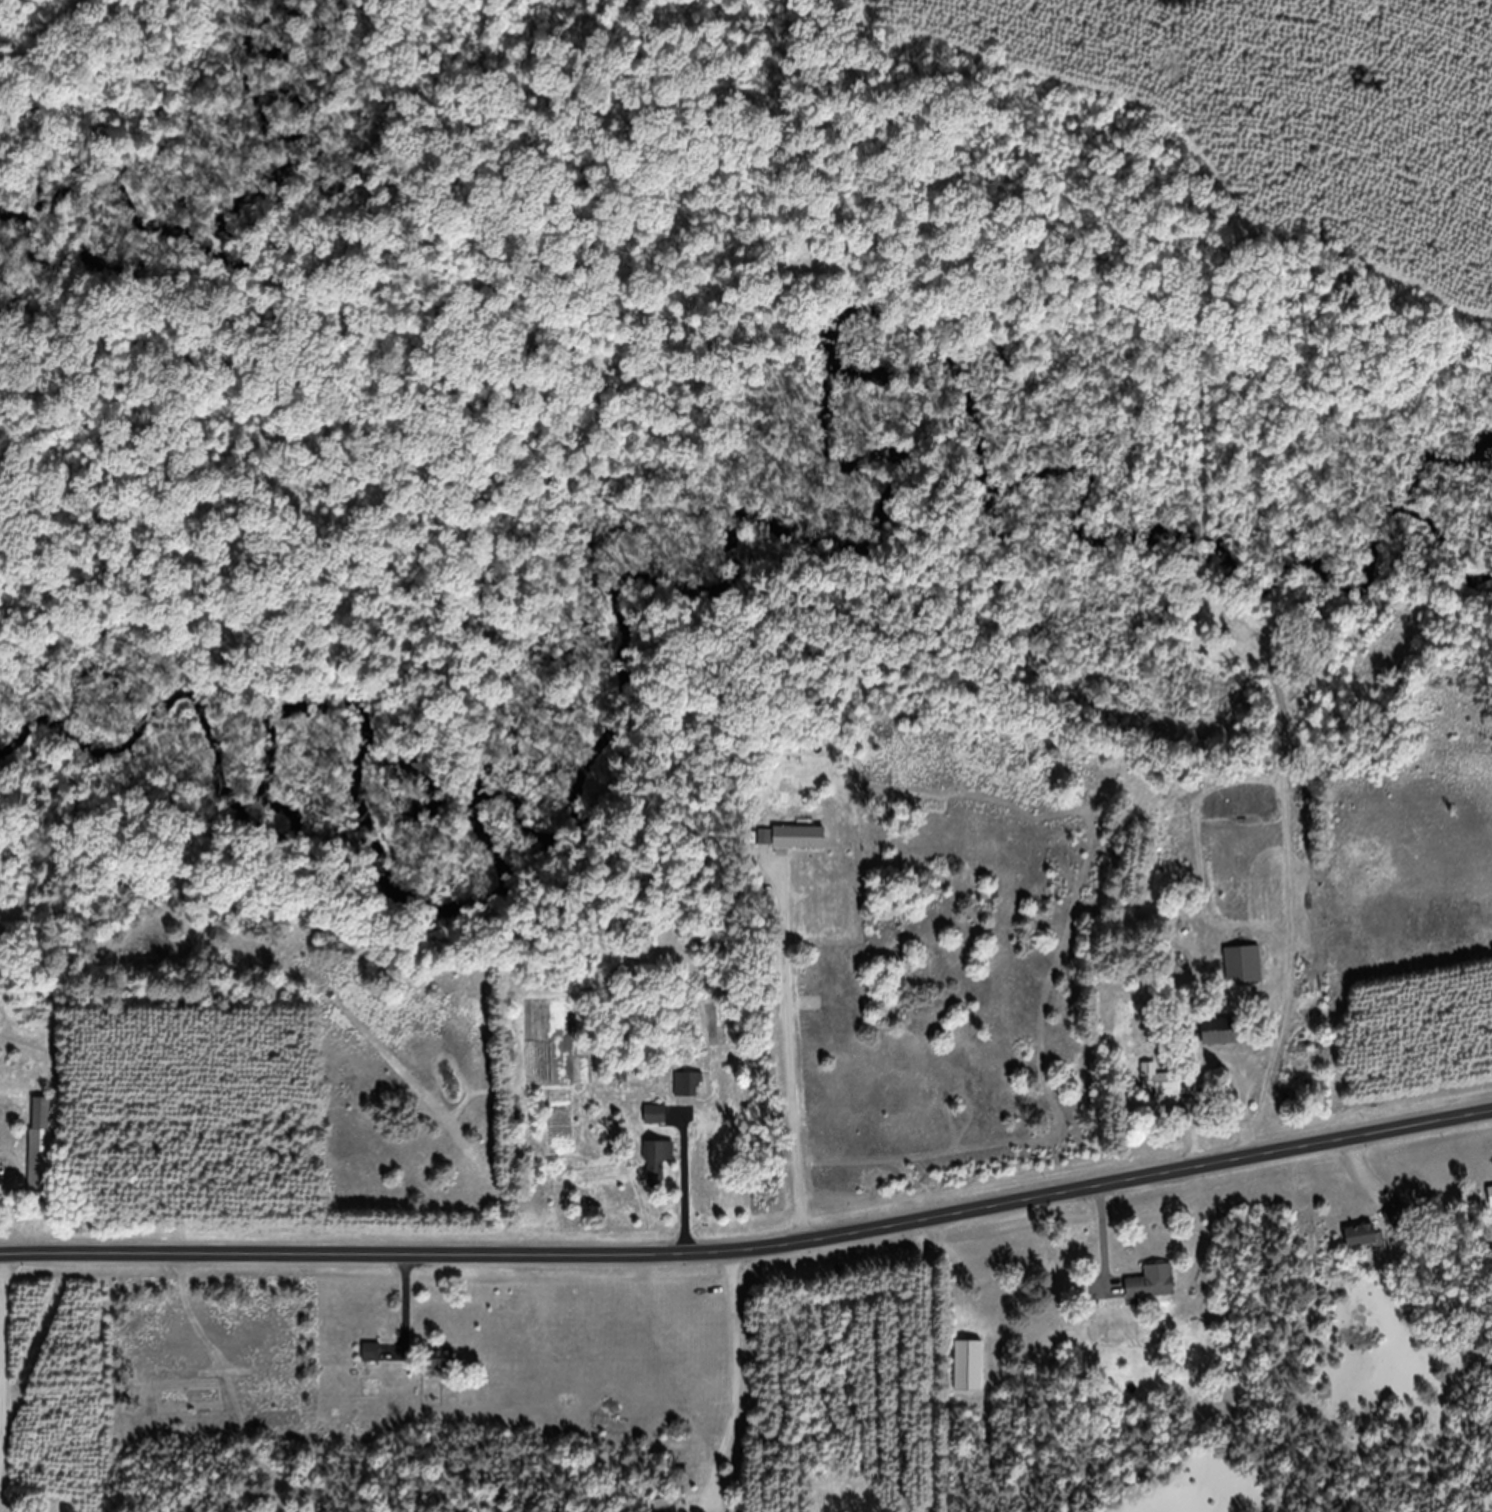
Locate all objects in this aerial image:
building: (764, 849)
building: (799, 849)
building: (1151, 928)
building: (1244, 976)
road: (806, 1041)
building: (1222, 1042)
building: (1162, 1093)
building: (688, 1095)
building: (656, 1125)
building: (42, 1157)
building: (658, 1172)
building: (1491, 1206)
building: (1361, 1247)
road: (752, 1259)
building: (1152, 1294)
building: (372, 1364)
building: (440, 1370)
building: (969, 1377)
road: (733, 1383)

